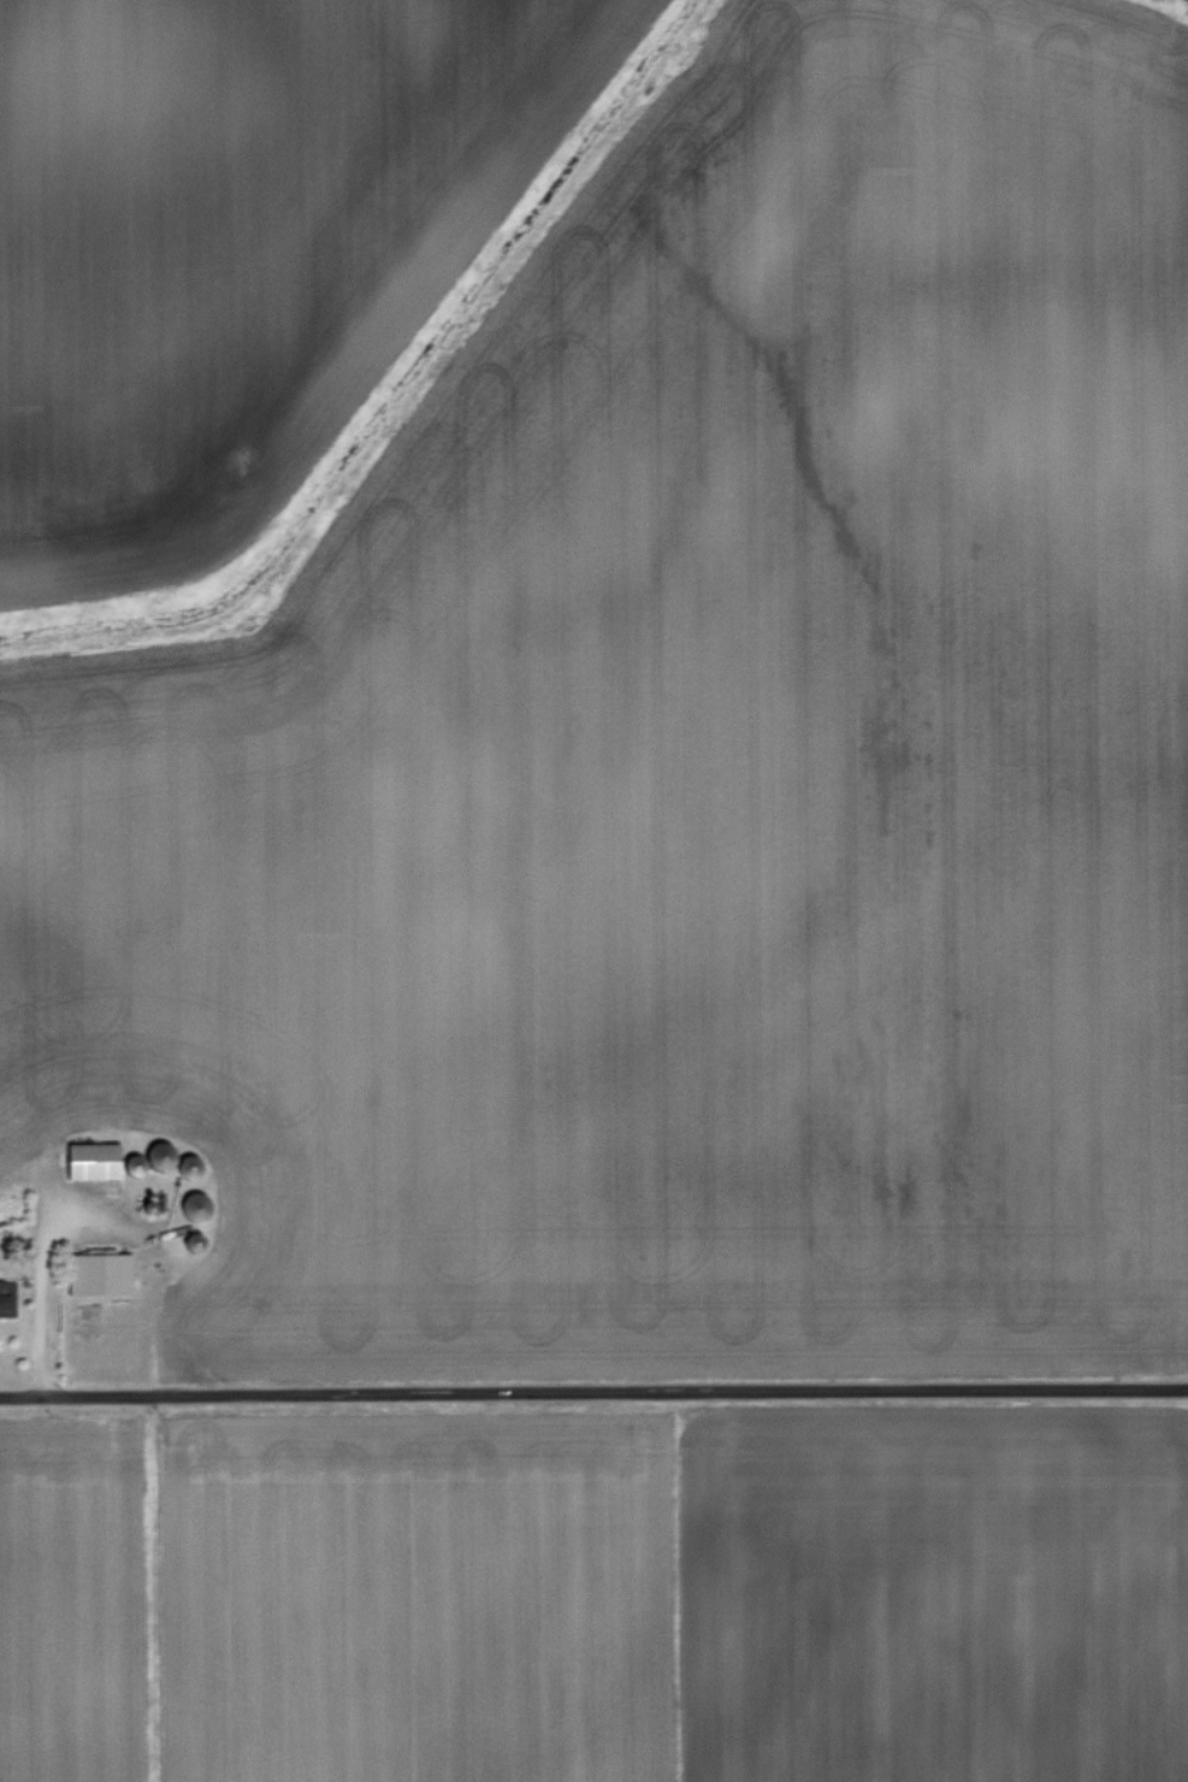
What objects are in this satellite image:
railway: (1160, 6)
building: (108, 1161)
road: (42, 1285)
road: (593, 1394)

